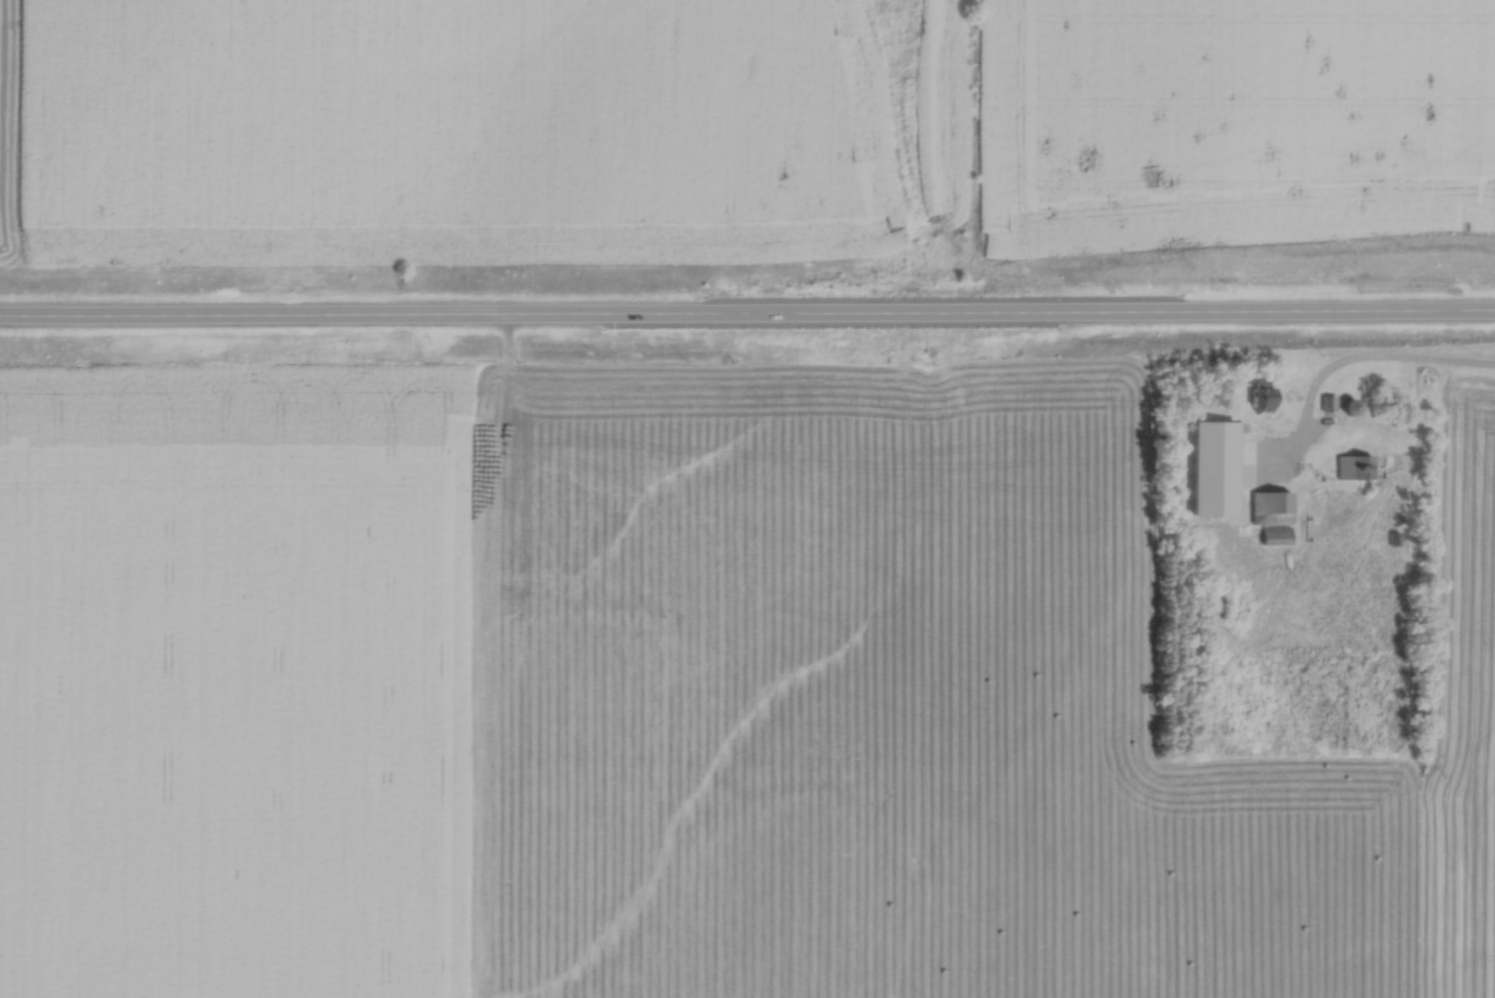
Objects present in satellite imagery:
road: (747, 316)
road: (1388, 361)
building: (1257, 391)
building: (1325, 398)
building: (1346, 402)
building: (1217, 444)
building: (1353, 462)
building: (1269, 503)

